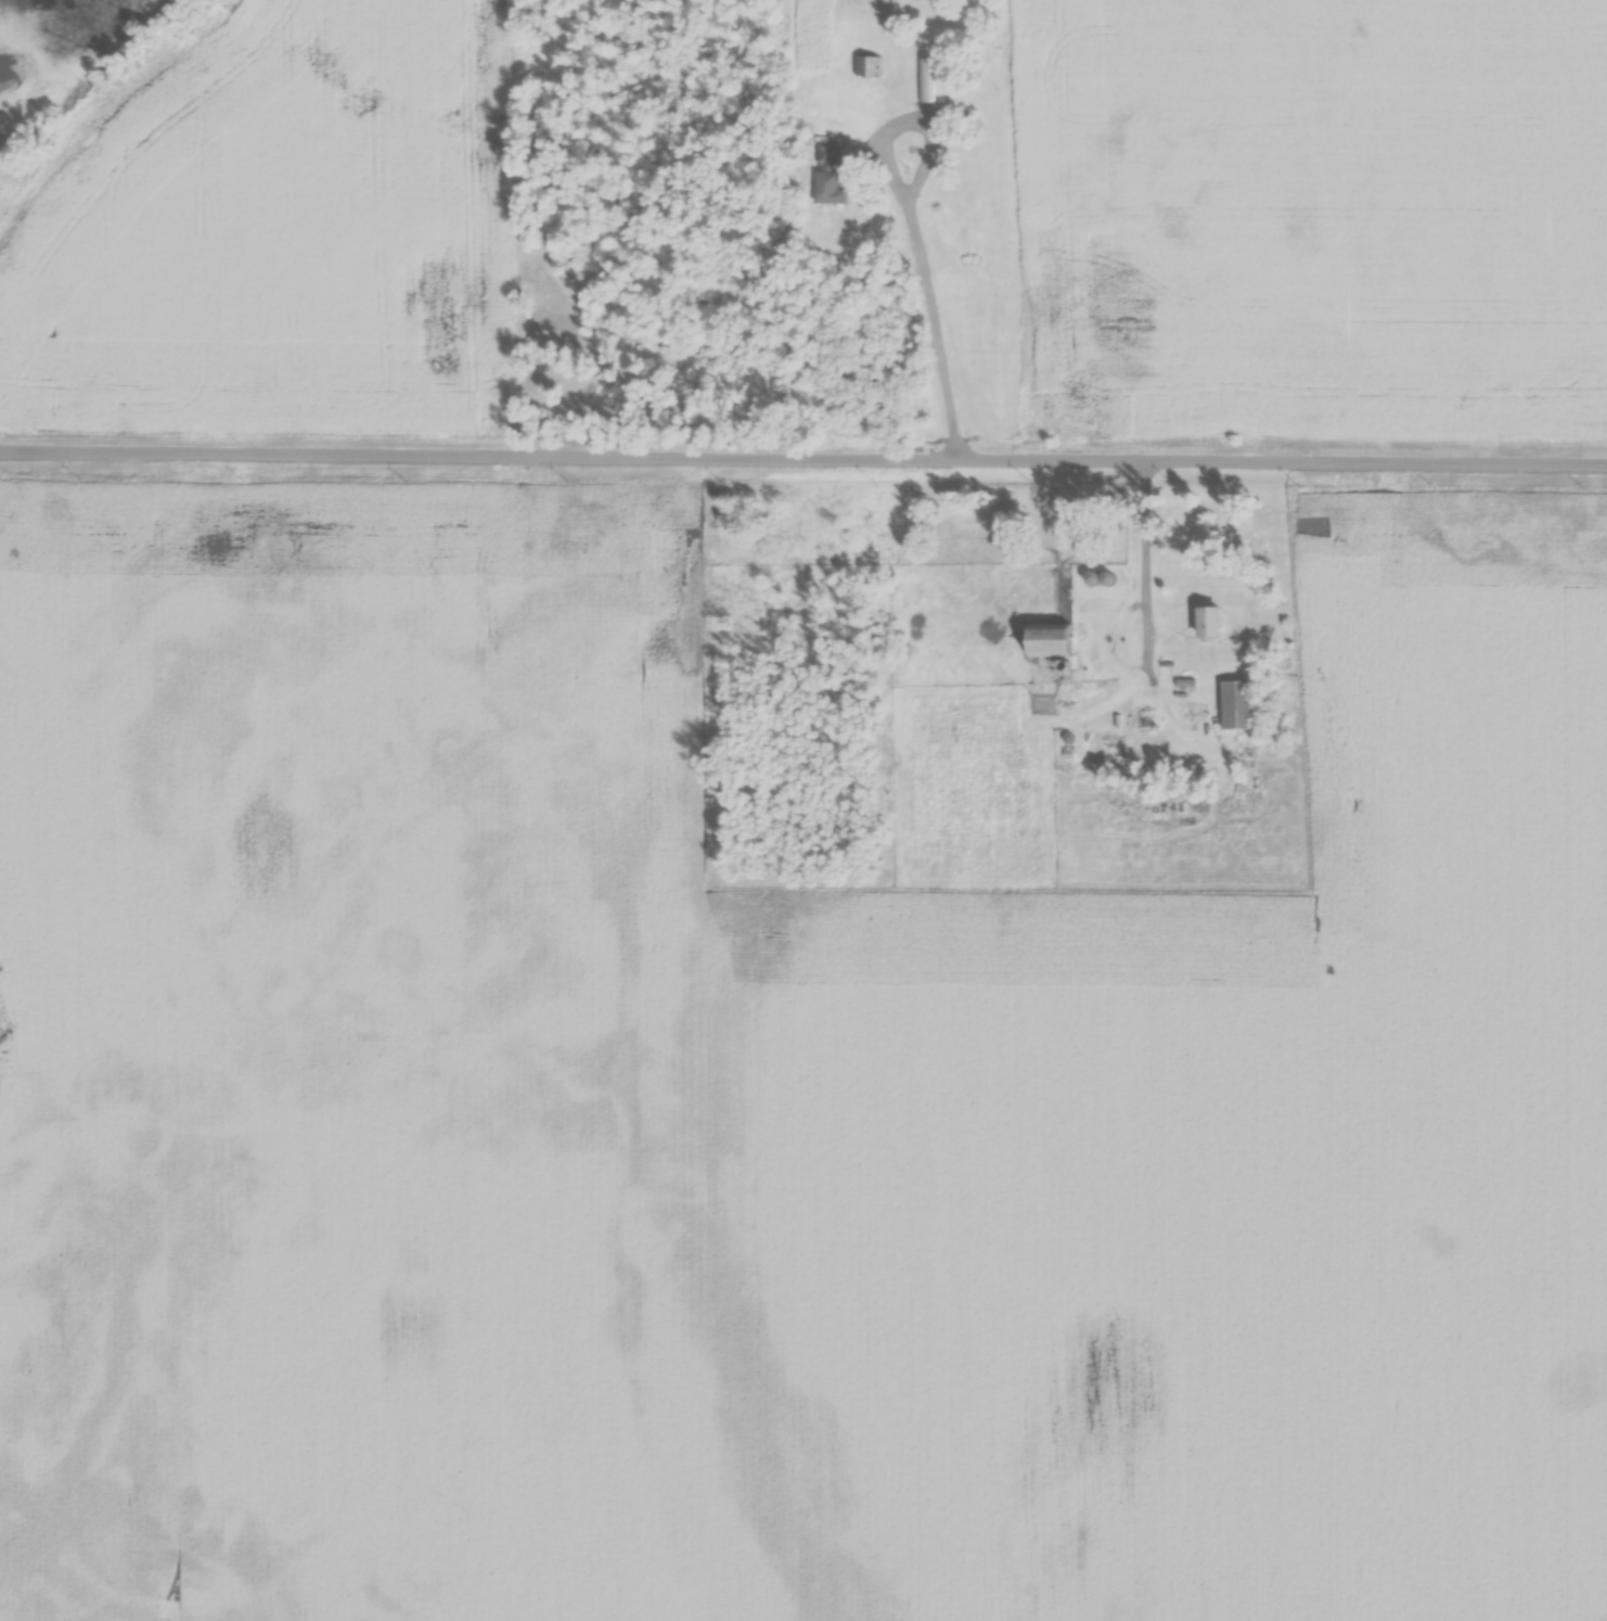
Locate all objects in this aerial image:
building: (1031, 60)
building: (930, 80)
building: (1017, 95)
building: (831, 177)
road: (915, 229)
road: (803, 456)
road: (1147, 617)
building: (1216, 623)
building: (1056, 642)
building: (1242, 705)
building: (1148, 718)

